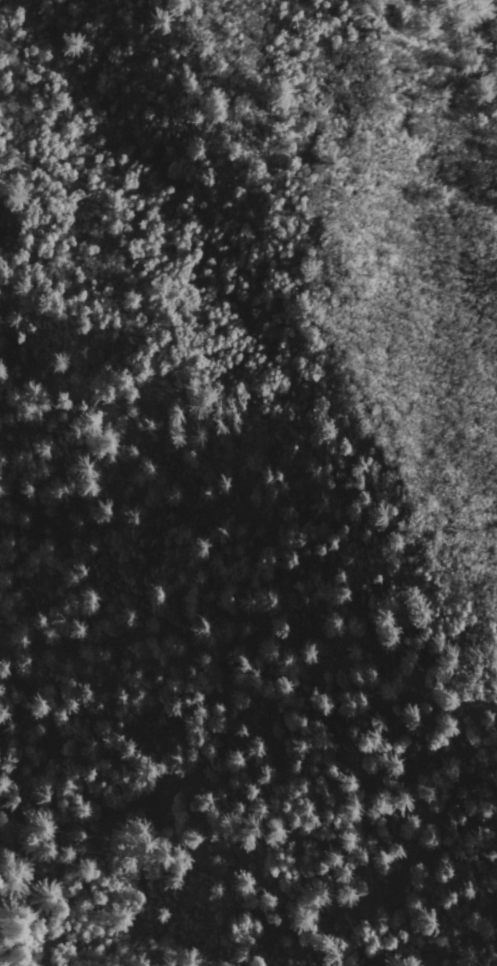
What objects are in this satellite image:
road: (17, 523)
road: (186, 636)
road: (7, 637)
road: (5, 737)

